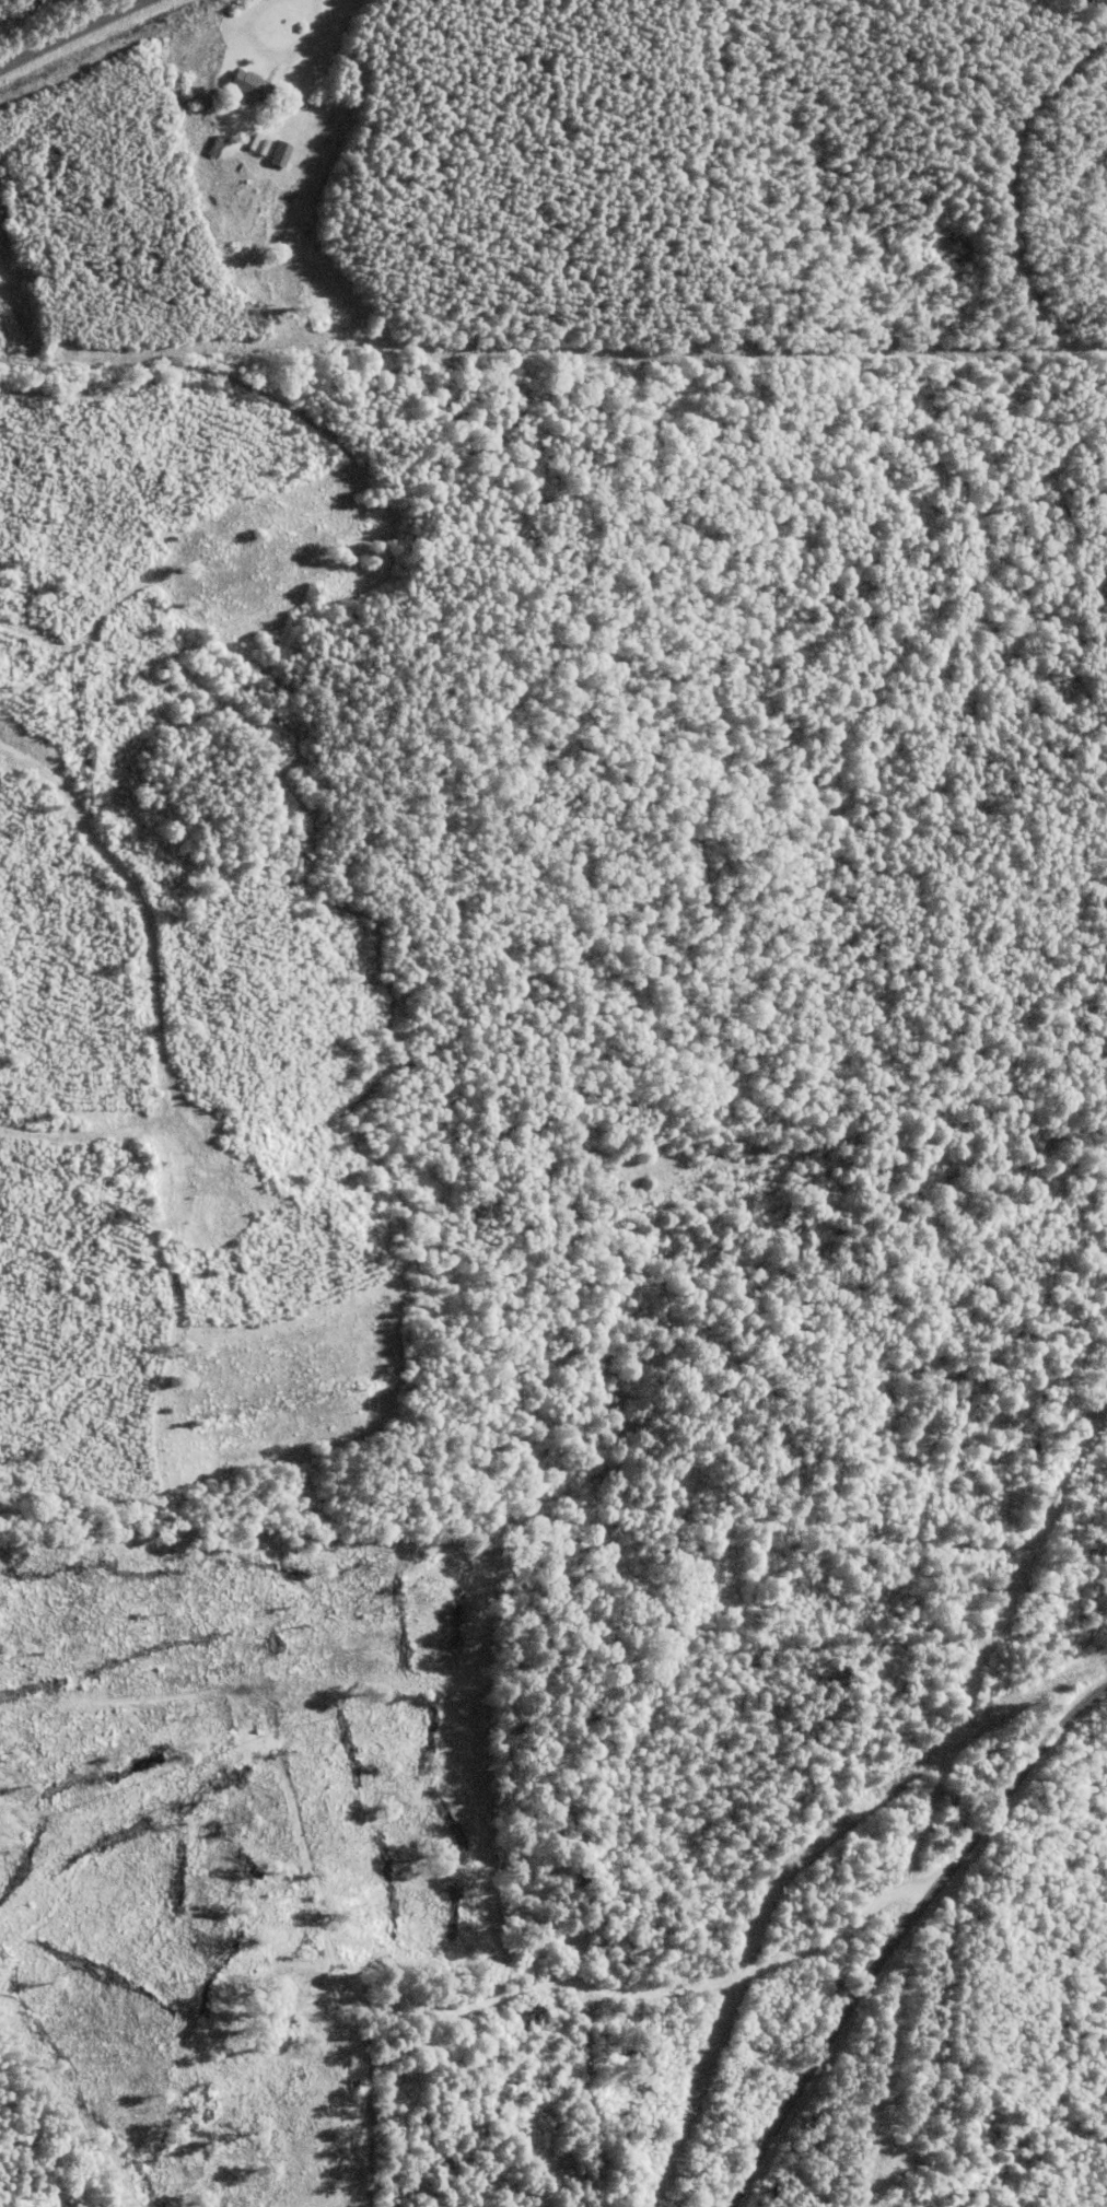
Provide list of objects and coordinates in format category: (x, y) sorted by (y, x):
road: (70, 33)
building: (238, 85)
road: (898, 1922)
building: (523, 2018)
building: (271, 2023)
road: (713, 2034)

